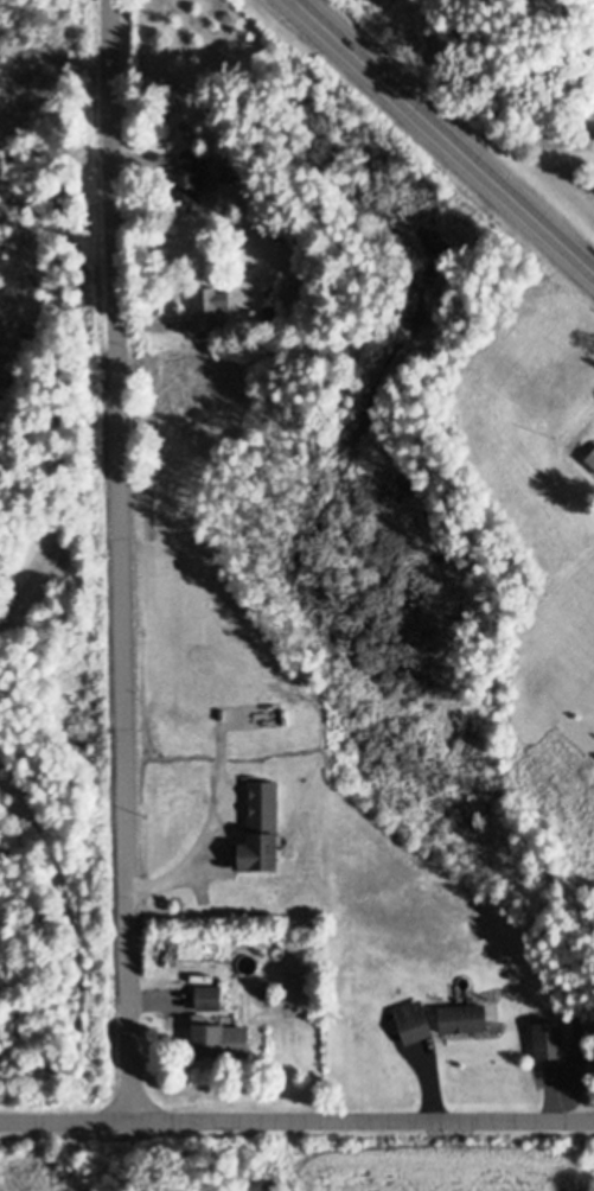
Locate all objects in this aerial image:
road: (445, 134)
building: (191, 181)
building: (210, 306)
road: (117, 561)
building: (262, 829)
building: (210, 996)
building: (466, 1018)
building: (416, 1020)
building: (224, 1042)
road: (296, 1121)

